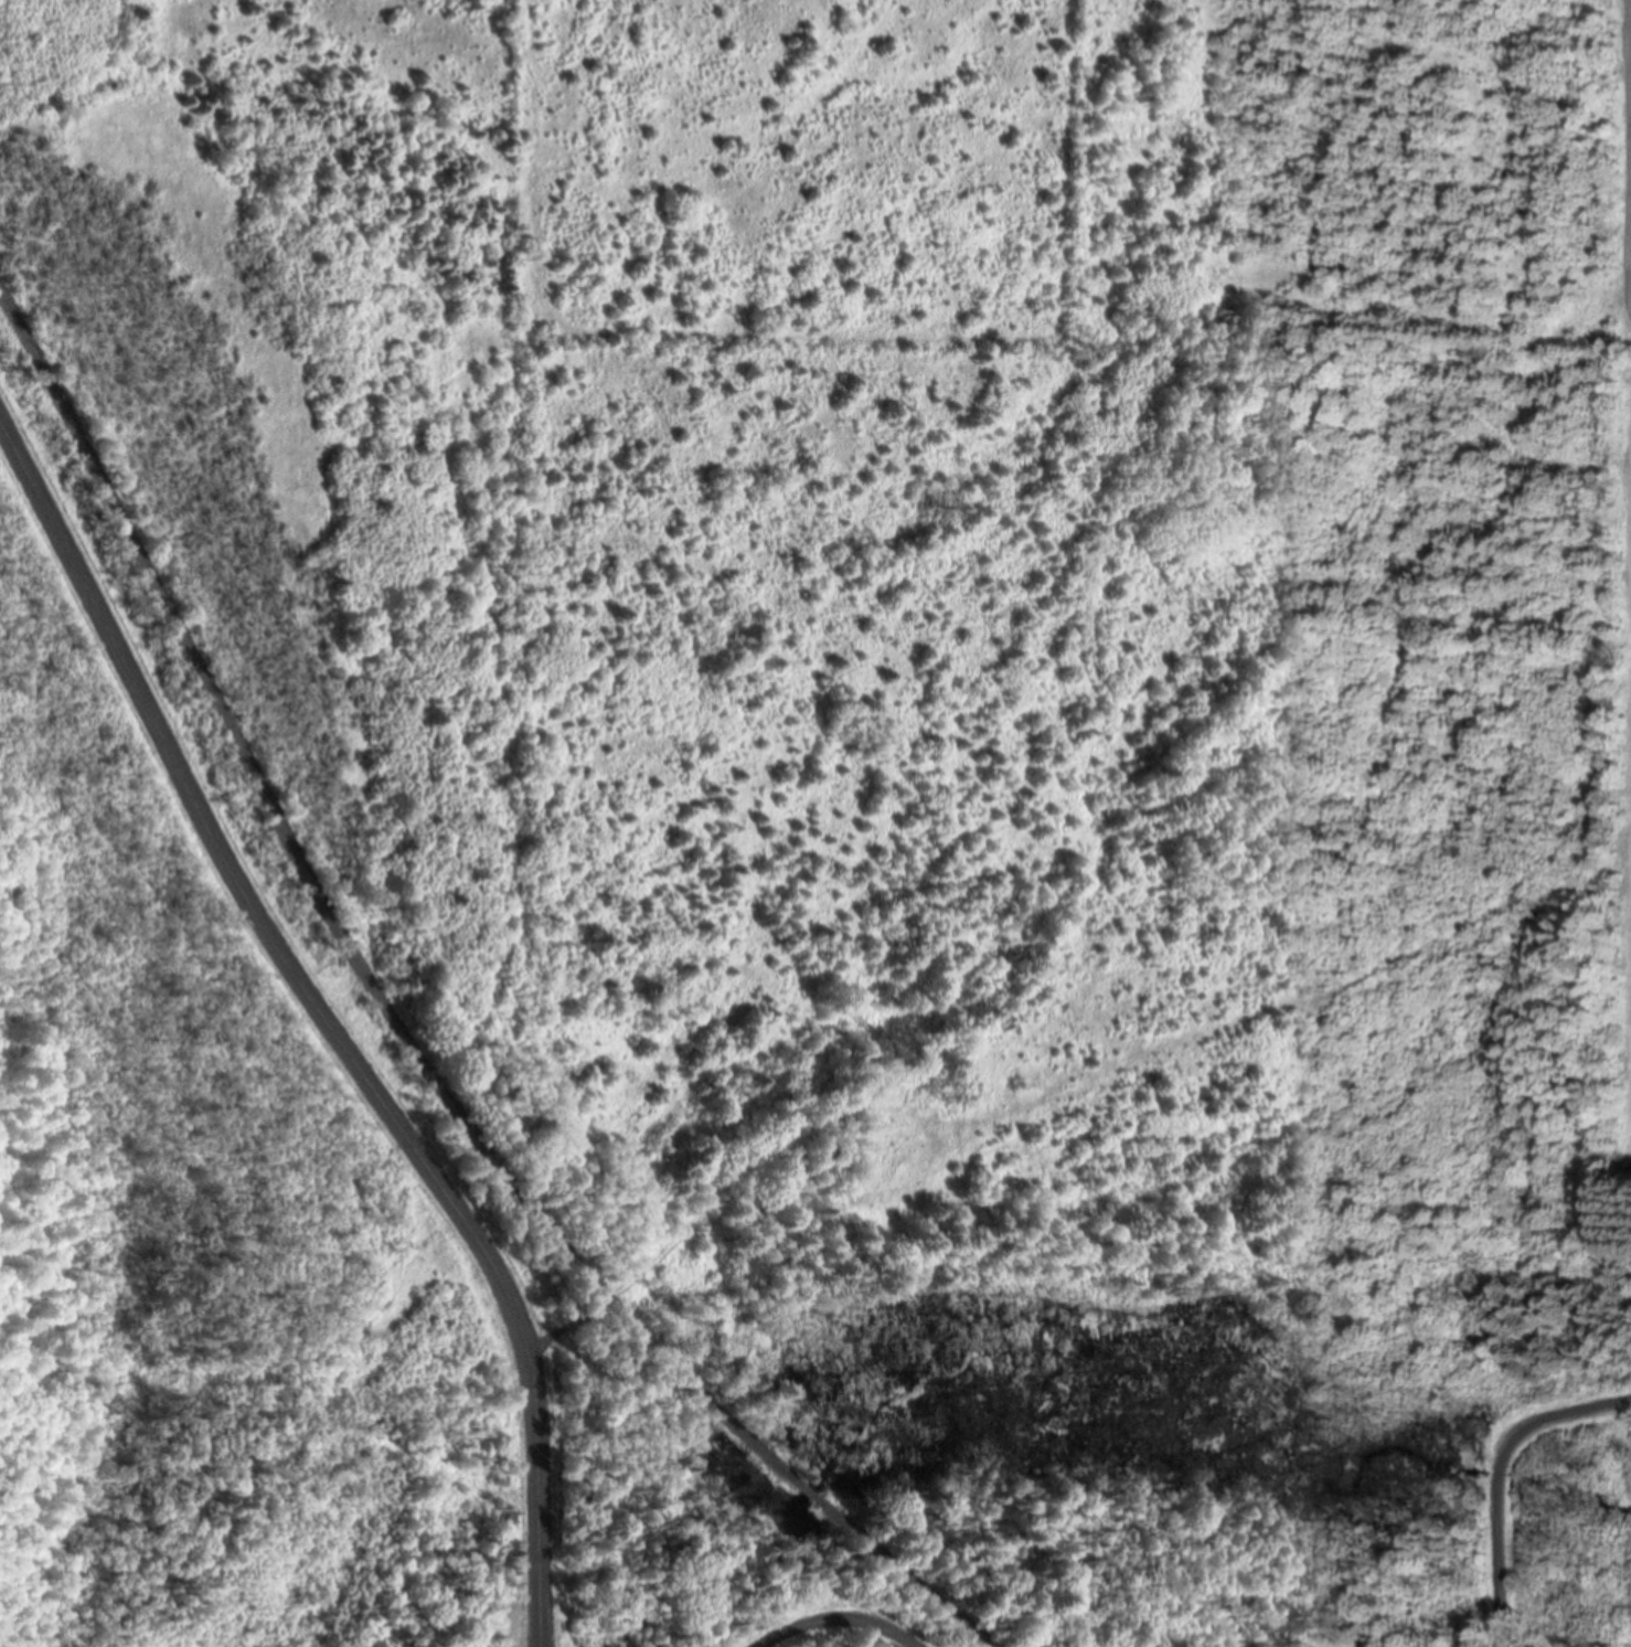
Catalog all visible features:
road: (337, 929)
road: (328, 1021)
road: (982, 1120)
road: (1497, 1475)
road: (810, 1494)
road: (904, 1576)
road: (836, 1618)

